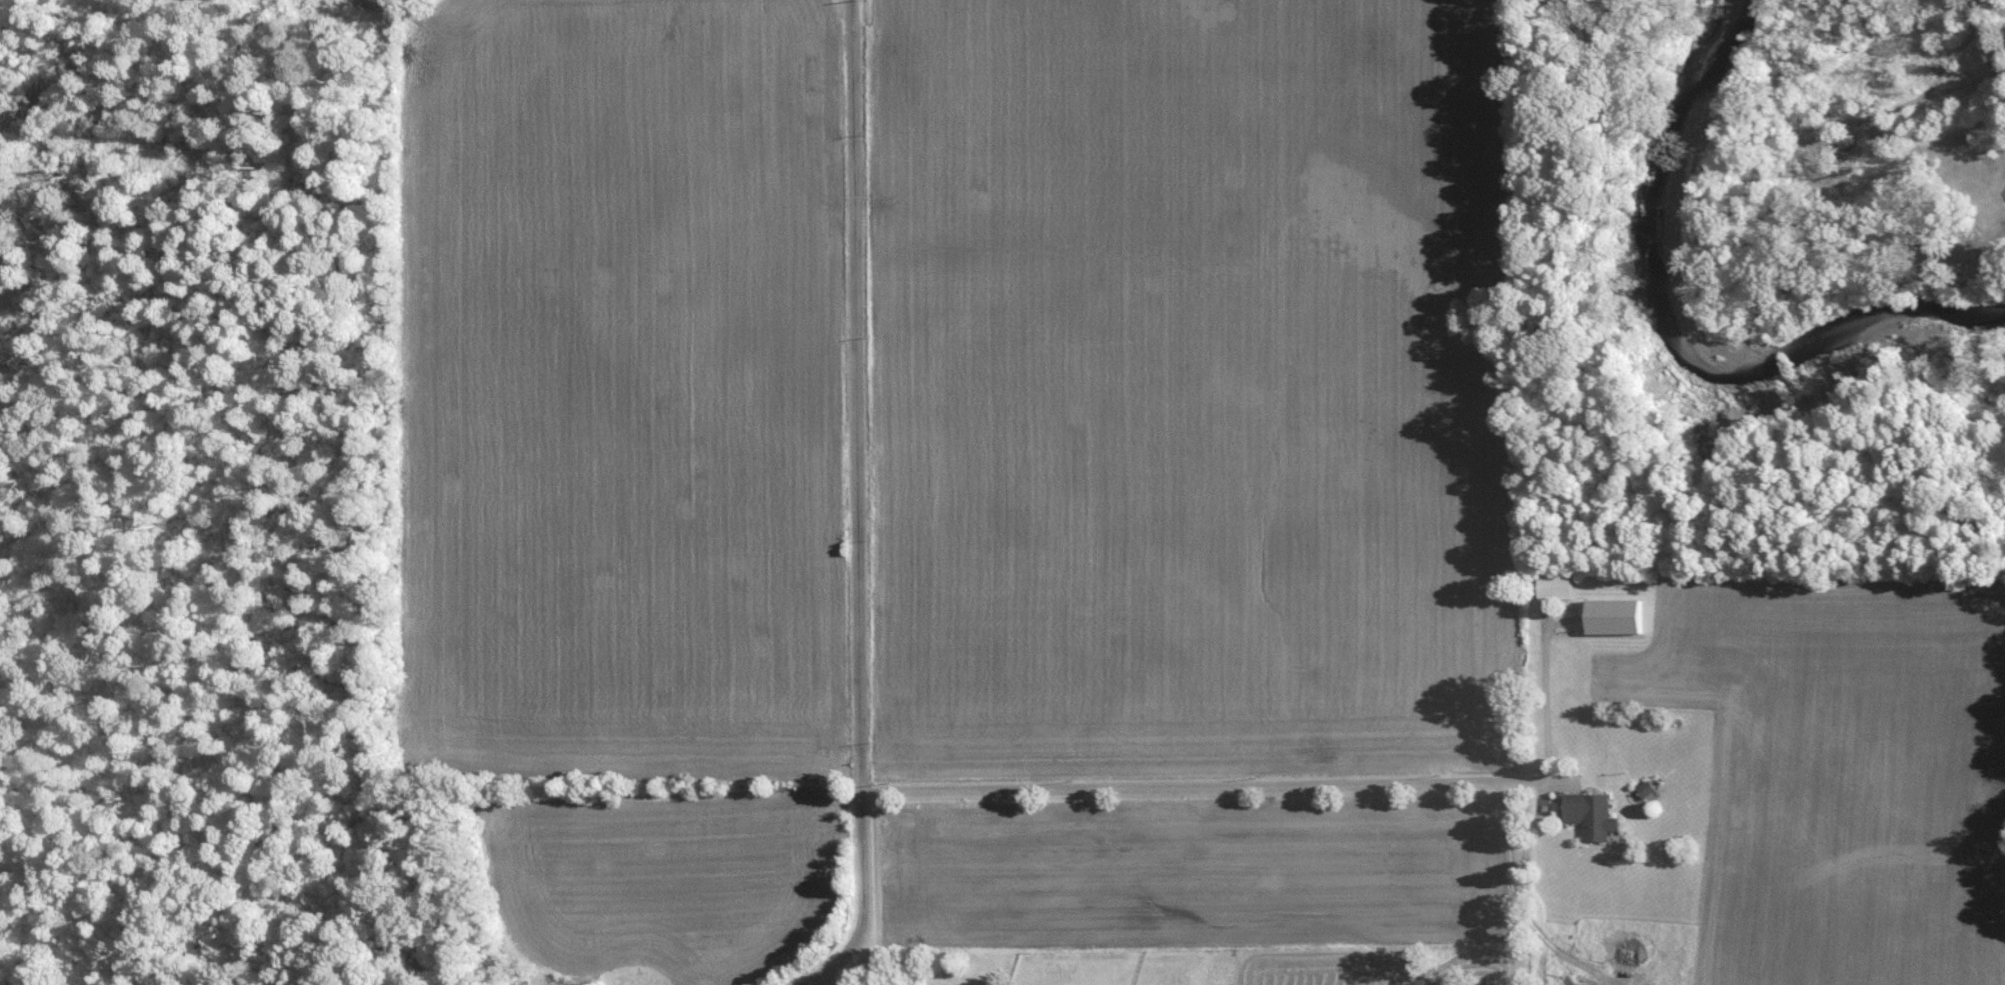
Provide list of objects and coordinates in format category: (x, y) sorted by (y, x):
road: (859, 506)
building: (1557, 585)
building: (1615, 615)
road: (1276, 782)
building: (1647, 787)
building: (1600, 816)
road: (825, 979)

